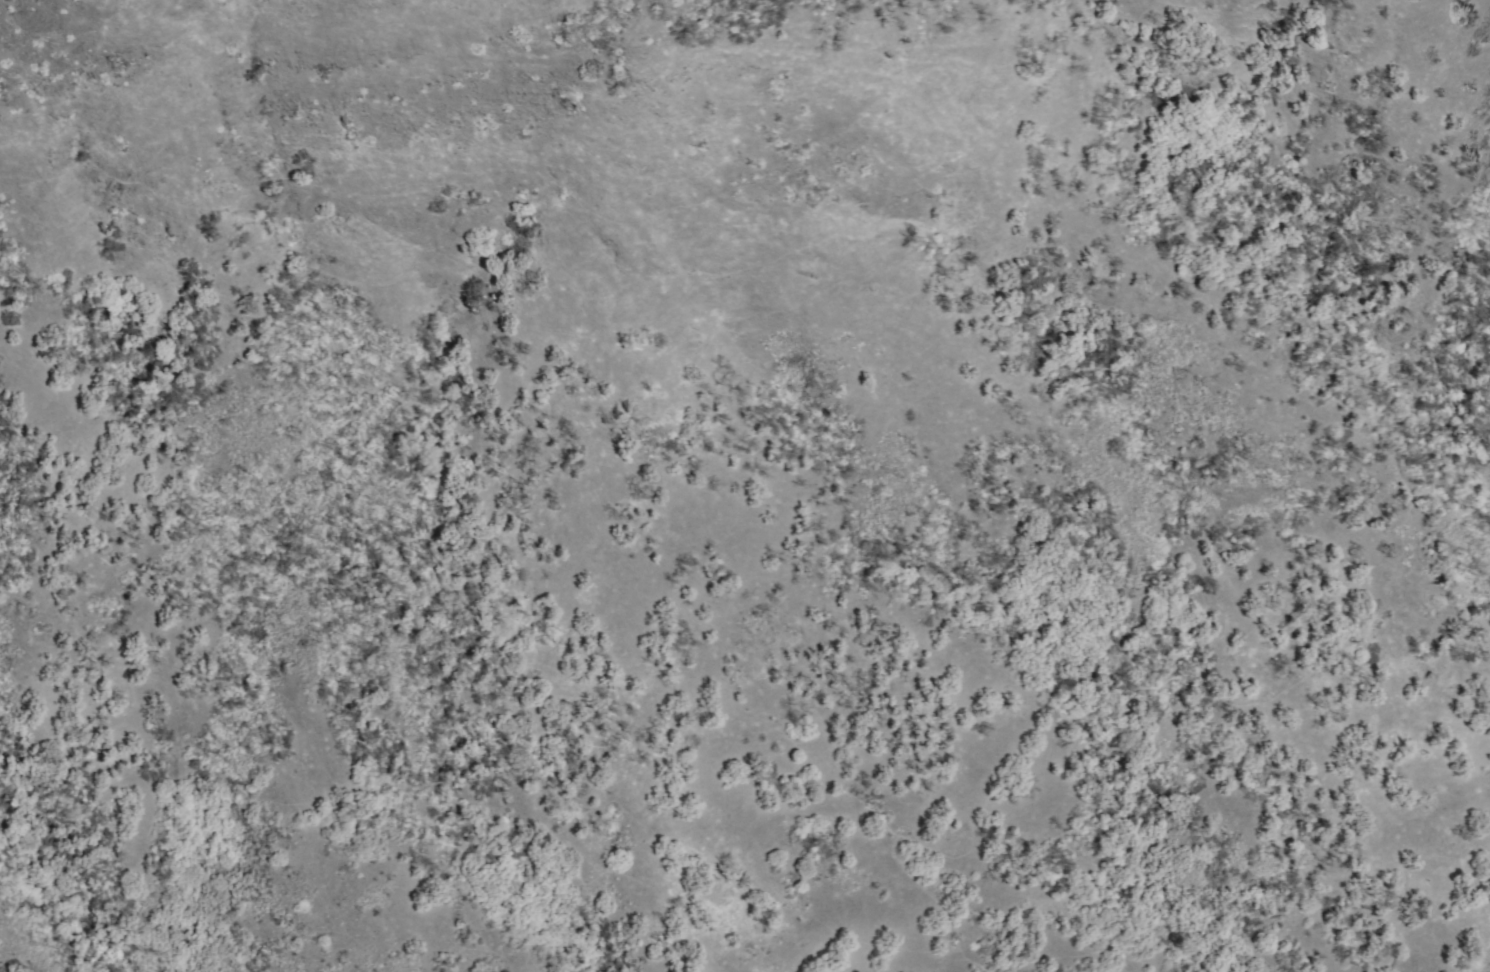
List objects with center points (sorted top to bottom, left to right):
road: (531, 244)
road: (1340, 636)

